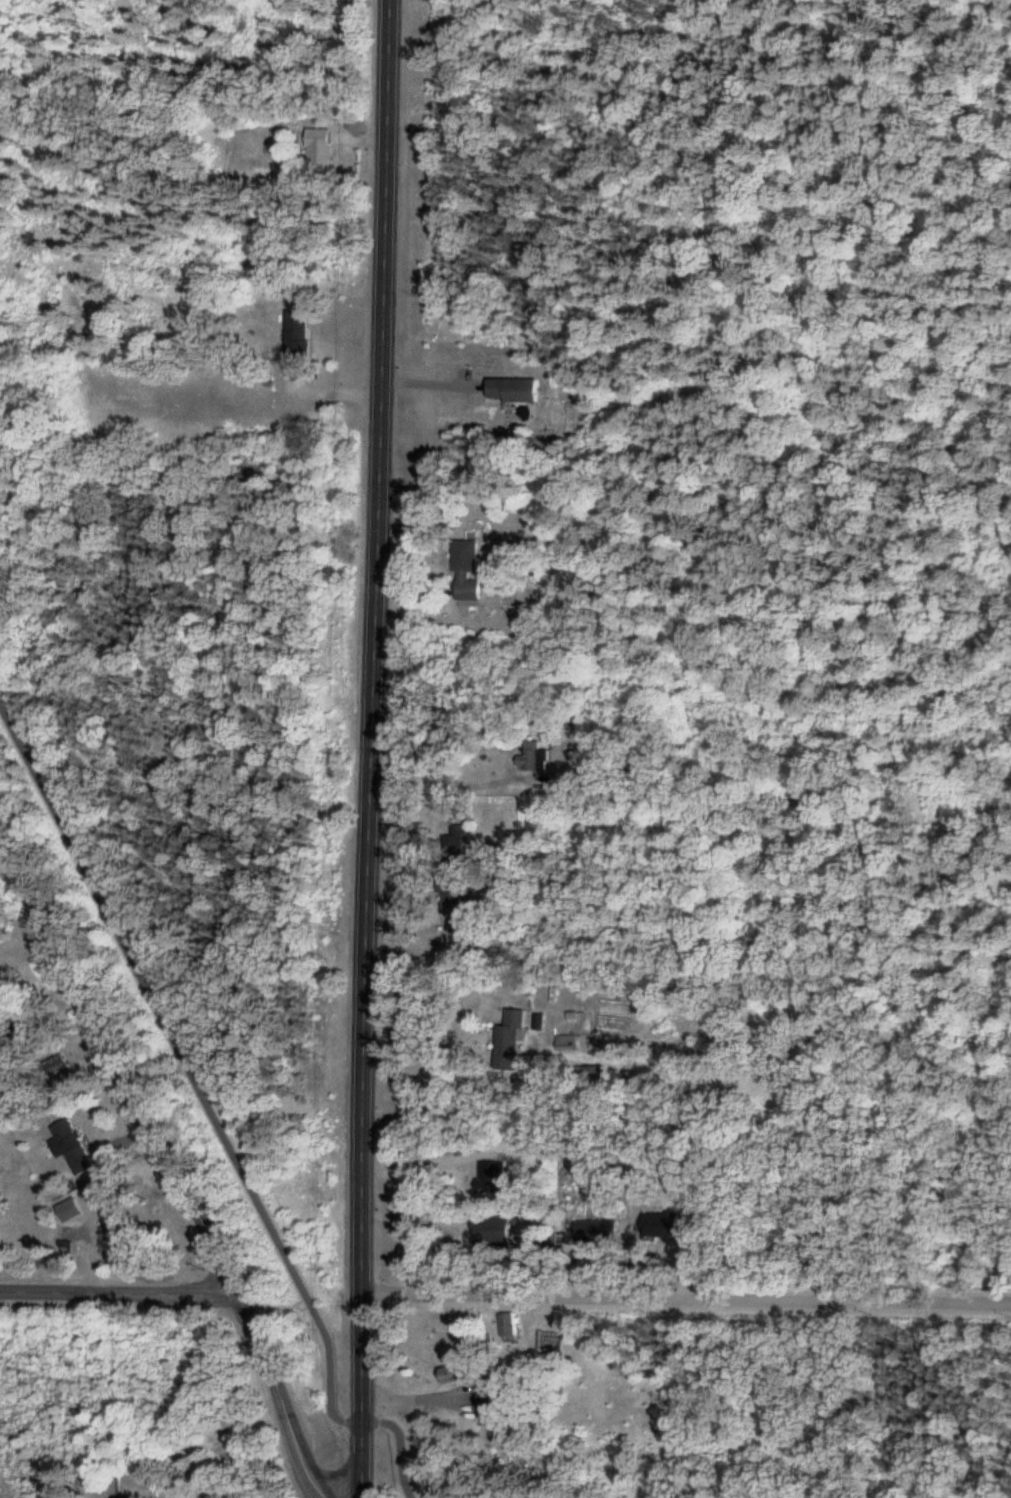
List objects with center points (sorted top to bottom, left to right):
building: (324, 155)
building: (299, 336)
road: (434, 385)
building: (519, 391)
building: (474, 591)
road: (373, 748)
building: (536, 756)
road: (441, 786)
building: (473, 922)
building: (515, 1037)
road: (437, 1050)
road: (218, 1114)
building: (75, 1147)
road: (177, 1158)
road: (426, 1158)
building: (495, 1179)
building: (1, 1187)
road: (101, 1201)
road: (419, 1216)
building: (663, 1228)
building: (498, 1232)
building: (598, 1233)
building: (113, 1240)
road: (122, 1290)
road: (690, 1297)
building: (513, 1328)
building: (465, 1375)
building: (497, 1404)

